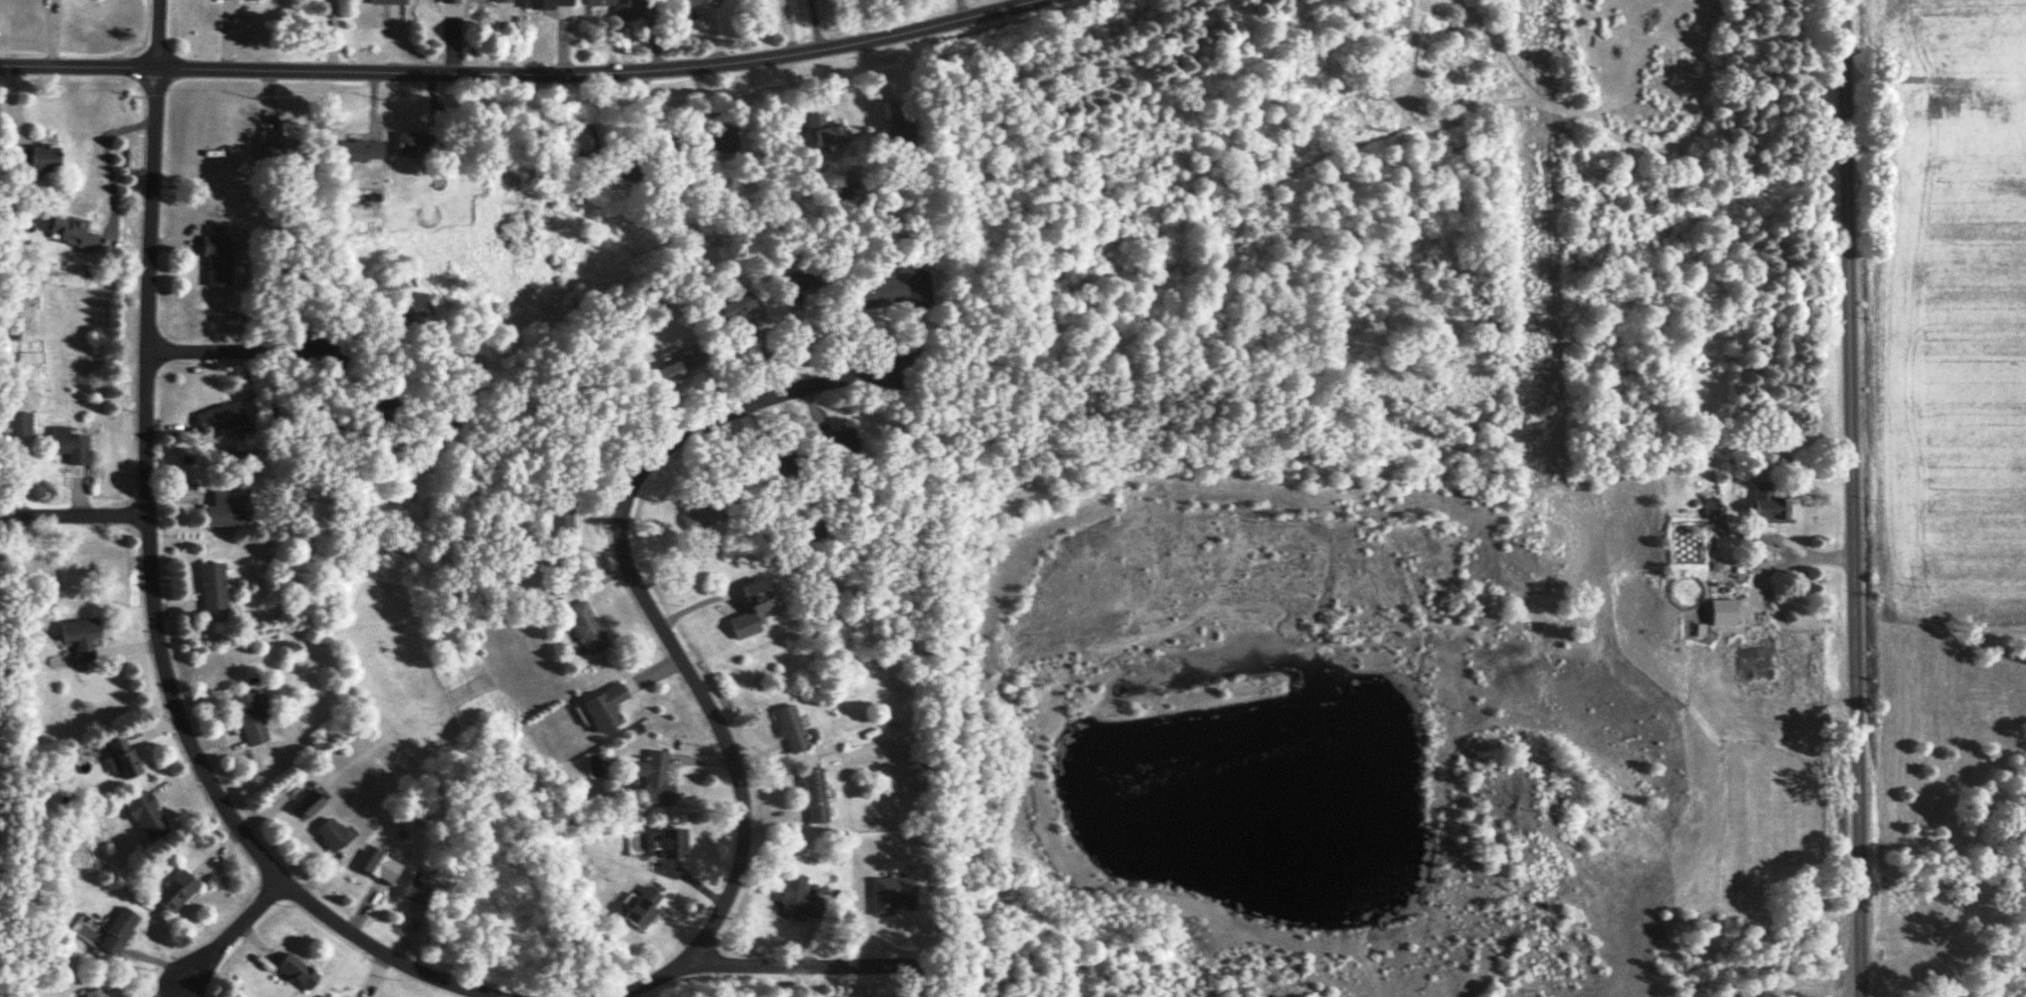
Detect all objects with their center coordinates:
building: (500, 0)
building: (447, 1)
building: (695, 1)
building: (387, 2)
building: (549, 3)
building: (616, 7)
road: (961, 9)
road: (158, 33)
road: (515, 70)
building: (1929, 105)
building: (1975, 123)
building: (900, 133)
building: (725, 138)
building: (413, 145)
building: (359, 152)
building: (282, 153)
building: (35, 158)
road: (105, 163)
building: (72, 231)
building: (215, 260)
building: (798, 279)
building: (878, 295)
building: (735, 305)
building: (413, 307)
road: (254, 347)
building: (679, 366)
building: (221, 418)
building: (18, 423)
building: (838, 442)
building: (68, 445)
road: (146, 489)
road: (1847, 498)
building: (1767, 504)
building: (225, 508)
building: (702, 514)
road: (83, 515)
road: (10, 516)
building: (211, 587)
building: (1723, 588)
building: (750, 611)
building: (585, 627)
building: (80, 638)
road: (675, 643)
building: (1759, 645)
building: (606, 707)
building: (250, 717)
building: (789, 729)
building: (120, 757)
building: (654, 778)
building: (813, 795)
building: (307, 803)
building: (145, 817)
building: (329, 835)
building: (672, 843)
building: (380, 866)
building: (418, 891)
building: (174, 892)
building: (798, 900)
building: (641, 909)
building: (116, 931)
road: (225, 938)
road: (391, 954)
road: (804, 962)
building: (296, 972)
road: (1801, 988)
building: (93, 993)

